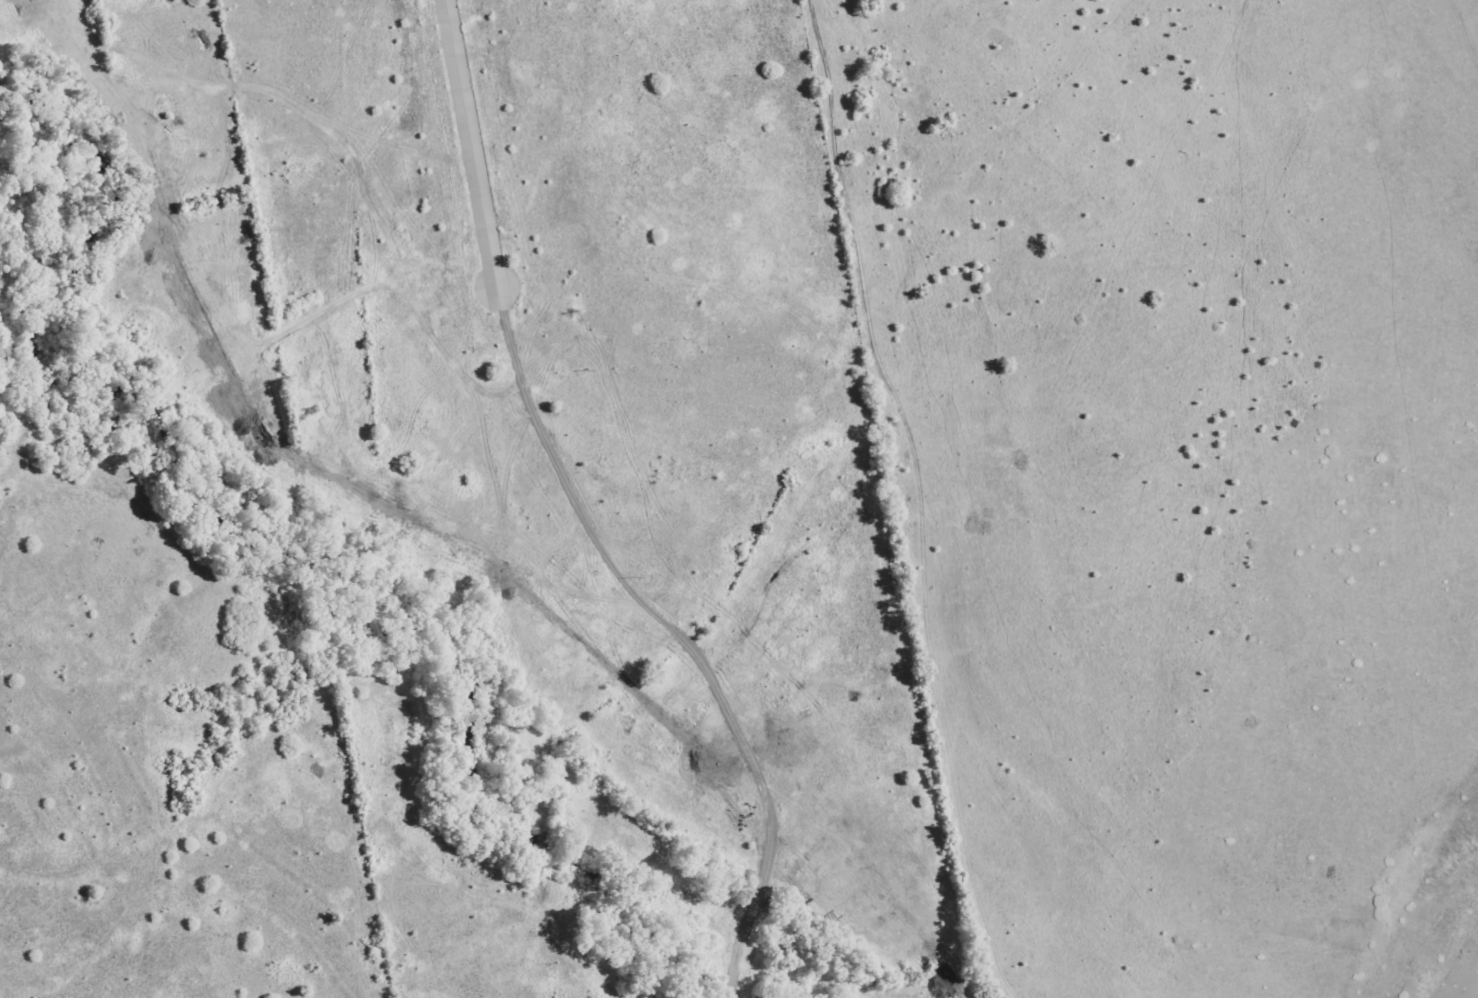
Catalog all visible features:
road: (472, 140)

